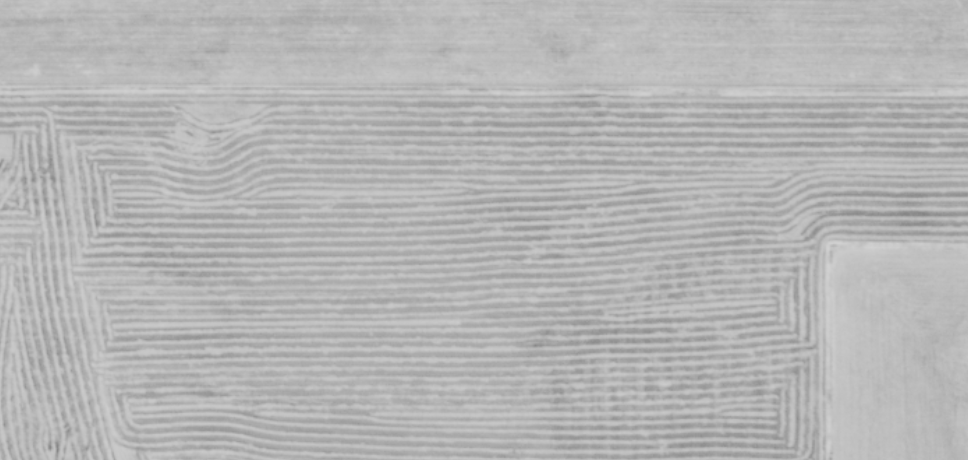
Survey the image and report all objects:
crop: (484, 230)

